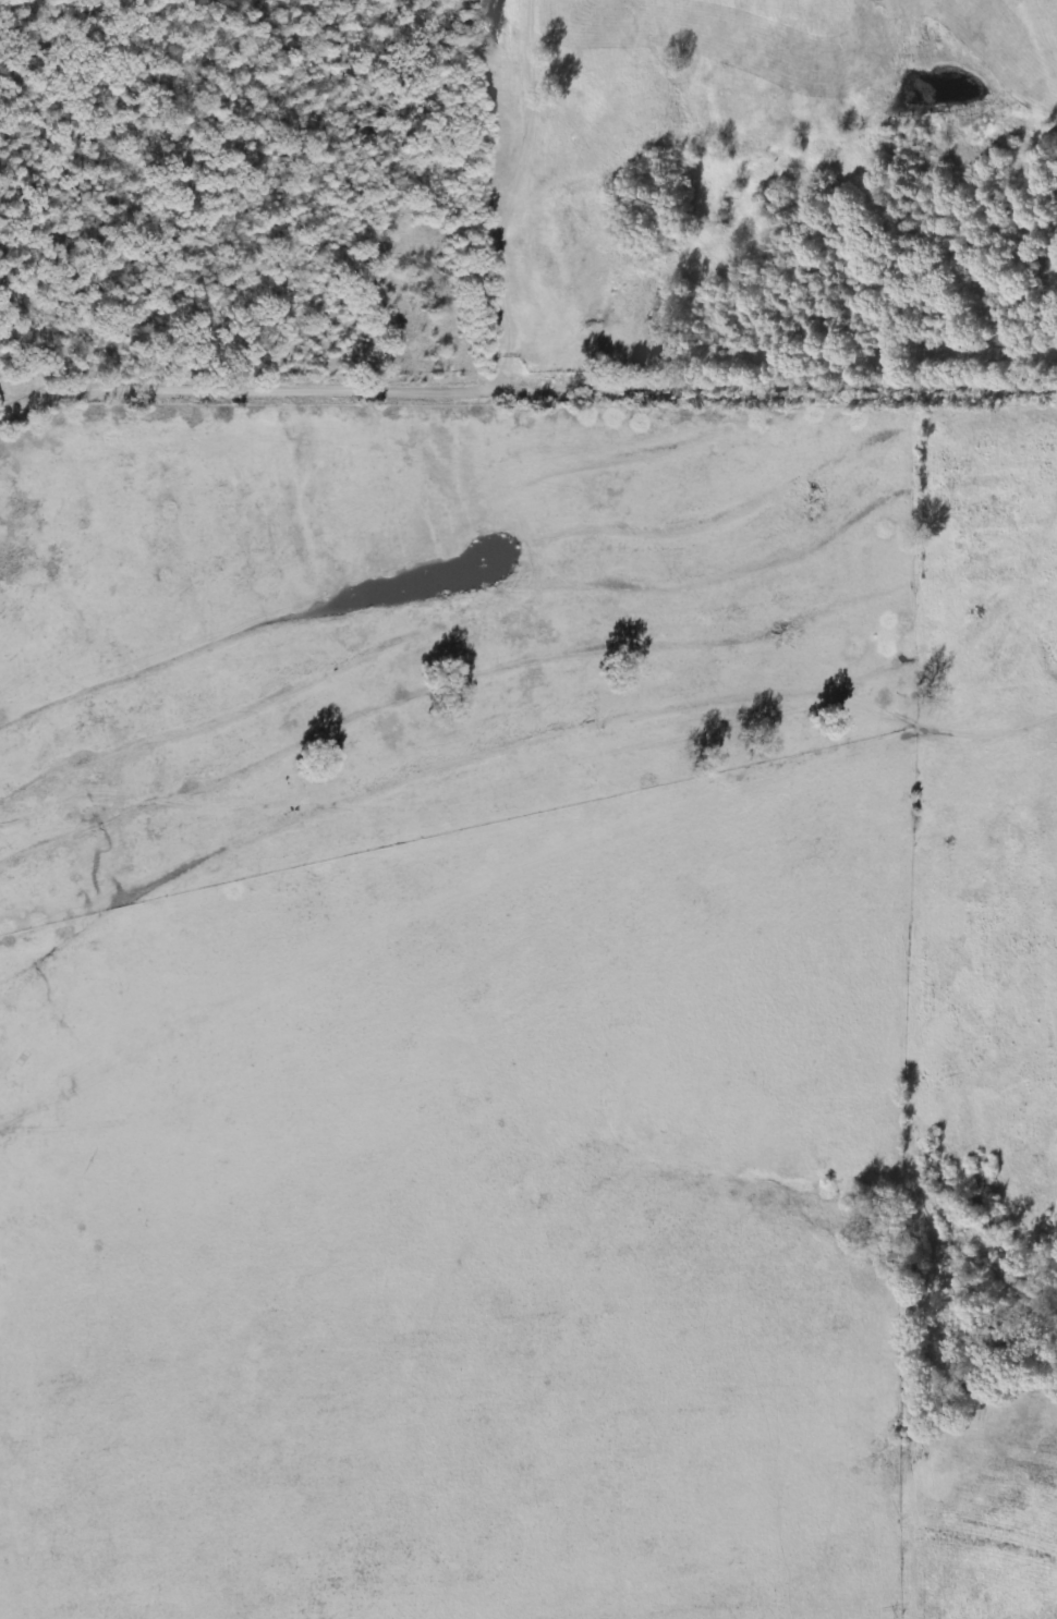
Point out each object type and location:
road: (524, 394)

